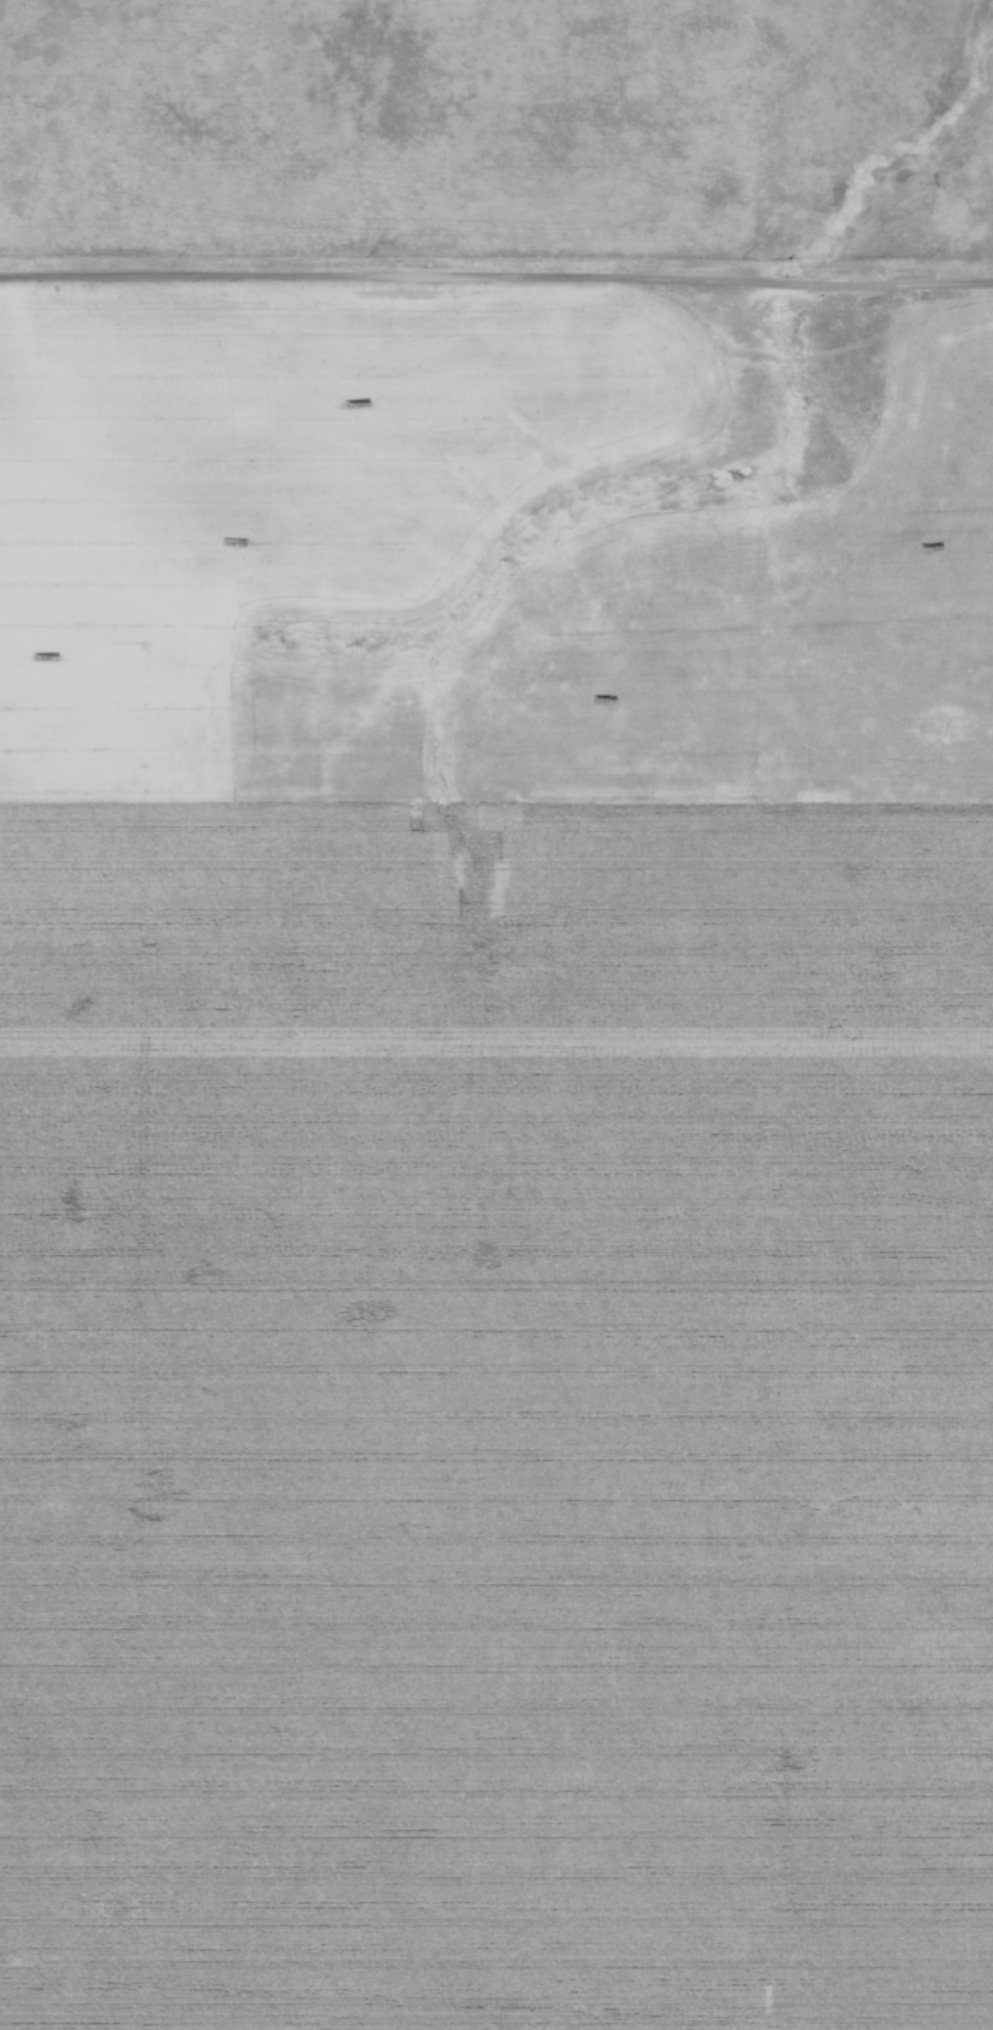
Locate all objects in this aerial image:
road: (496, 288)

